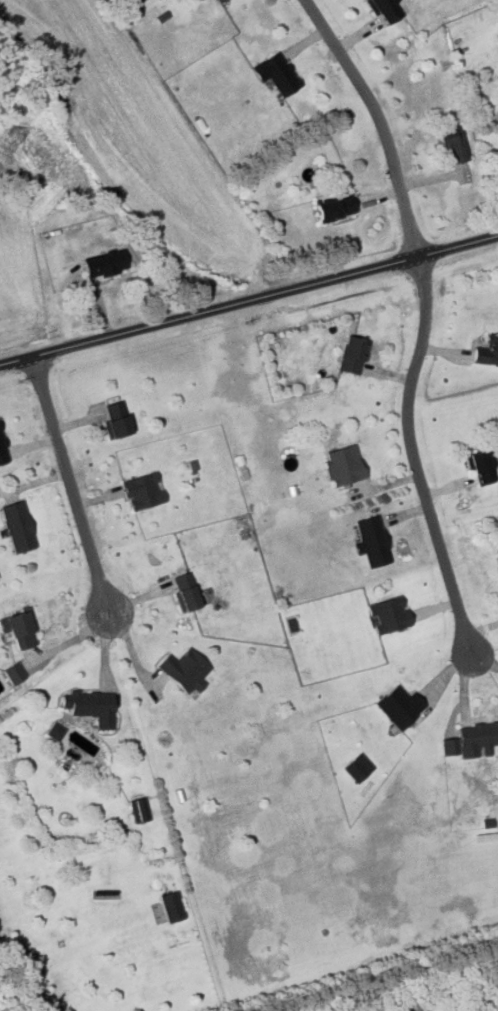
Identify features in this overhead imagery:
building: (215, 1)
building: (386, 10)
building: (275, 73)
road: (380, 123)
building: (452, 142)
building: (335, 207)
building: (104, 263)
road: (378, 271)
road: (129, 330)
building: (486, 351)
building: (352, 354)
building: (116, 418)
building: (2, 449)
building: (343, 465)
road: (423, 465)
building: (481, 467)
road: (73, 487)
building: (142, 491)
building: (17, 526)
building: (371, 541)
building: (497, 555)
building: (186, 591)
building: (388, 614)
building: (19, 627)
building: (184, 670)
building: (13, 672)
building: (399, 705)
building: (90, 706)
building: (55, 731)
building: (471, 740)
building: (357, 767)
building: (139, 809)
building: (171, 906)

